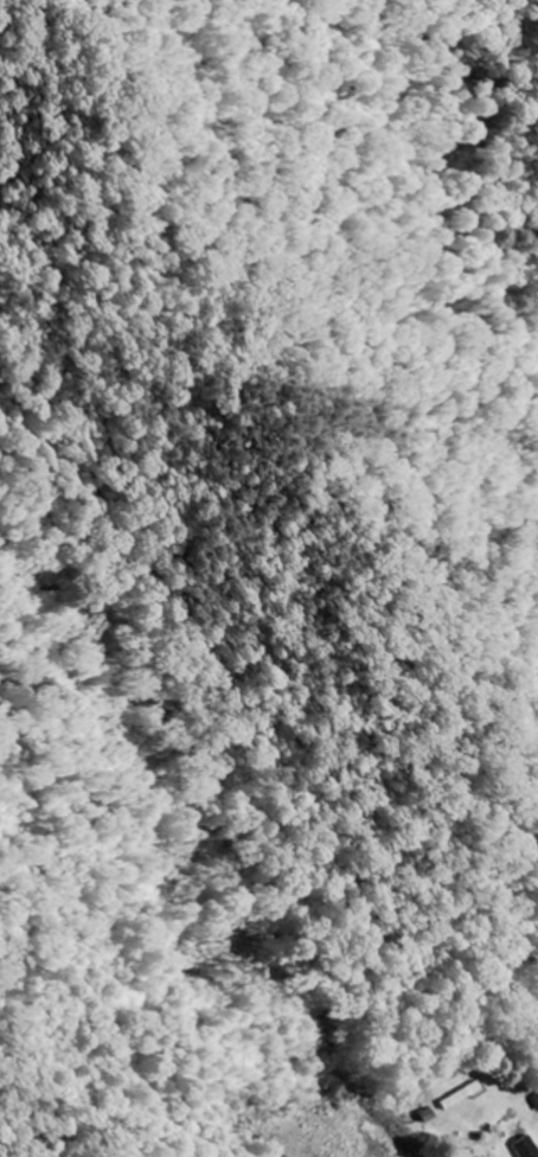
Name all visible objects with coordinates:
building: (526, 1148)

